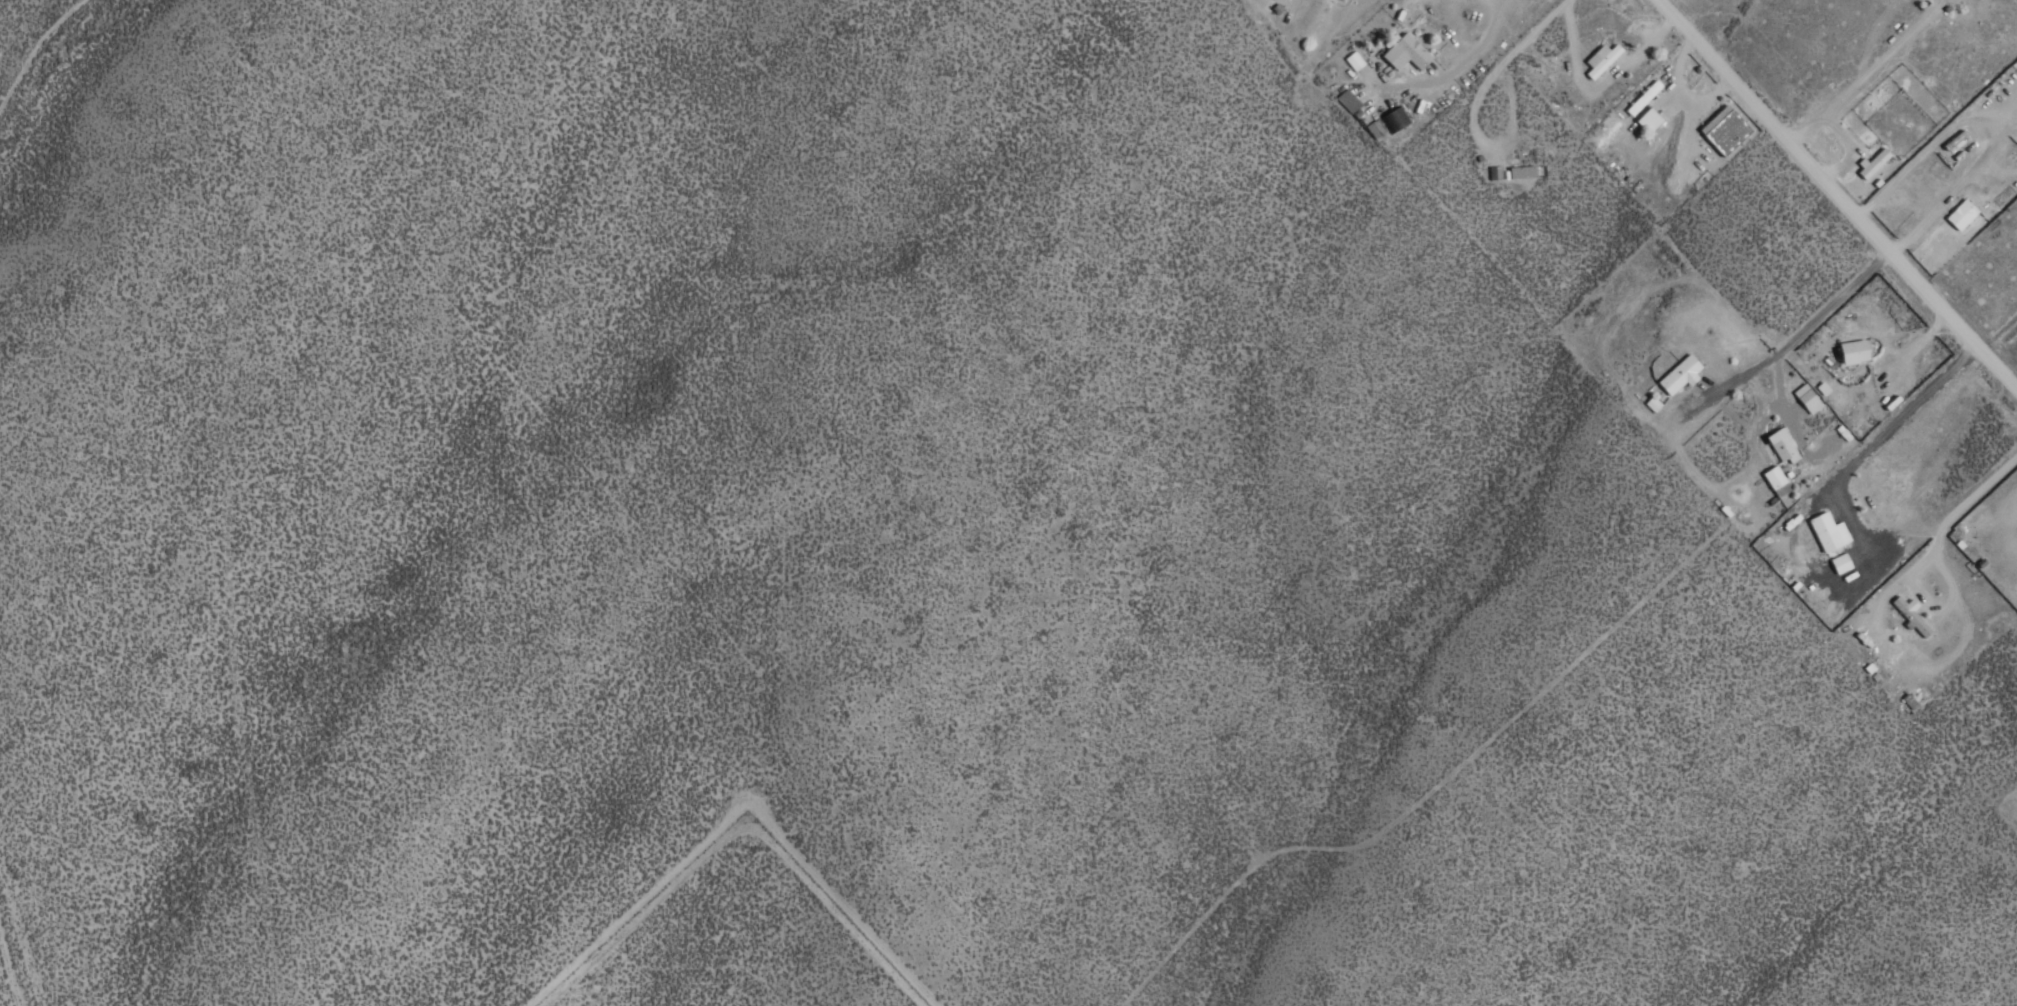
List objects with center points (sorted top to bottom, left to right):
building: (1406, 52)
building: (1353, 61)
building: (1643, 97)
building: (1349, 103)
building: (1649, 120)
building: (1726, 130)
building: (1874, 161)
road: (1837, 194)
building: (1961, 214)
building: (1855, 350)
building: (1681, 373)
building: (1822, 387)
building: (1807, 397)
building: (1652, 403)
building: (1781, 444)
building: (1776, 480)
building: (1828, 531)
building: (1840, 563)
building: (1911, 614)

